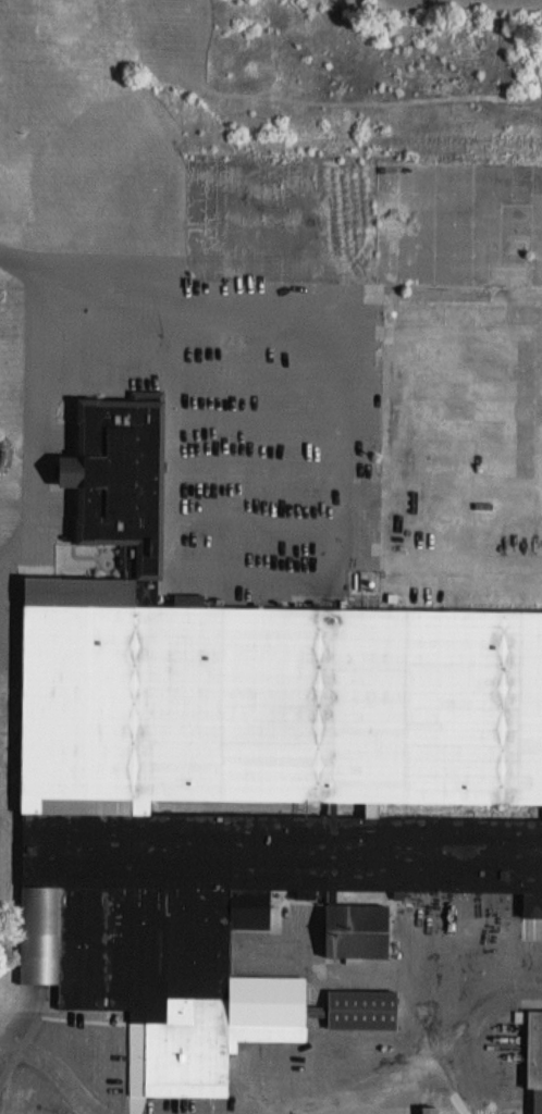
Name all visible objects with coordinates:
road: (34, 10)
building: (246, 770)
building: (534, 1055)
road: (426, 1069)
road: (53, 1075)
building: (429, 1109)

